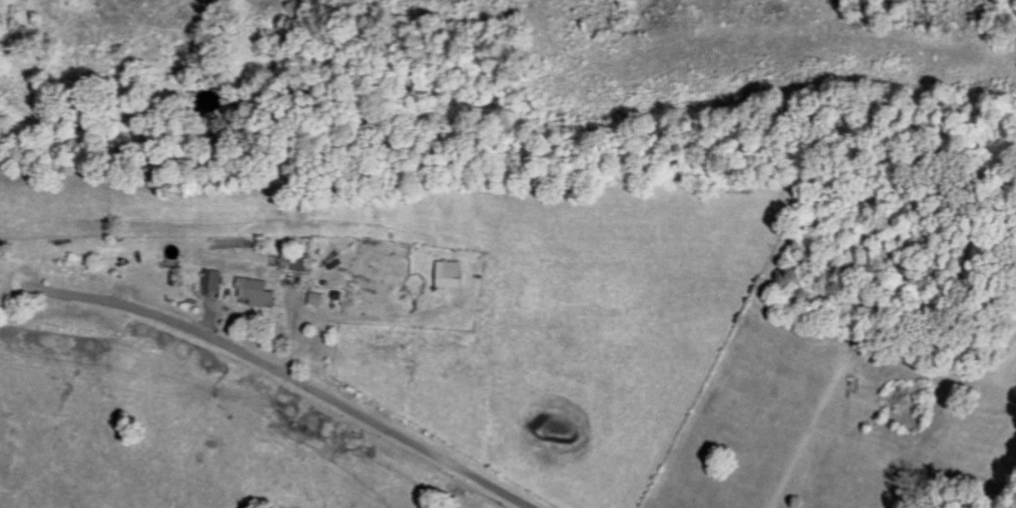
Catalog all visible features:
building: (295, 261)
building: (450, 274)
building: (213, 280)
building: (256, 291)
building: (316, 298)
road: (292, 377)

